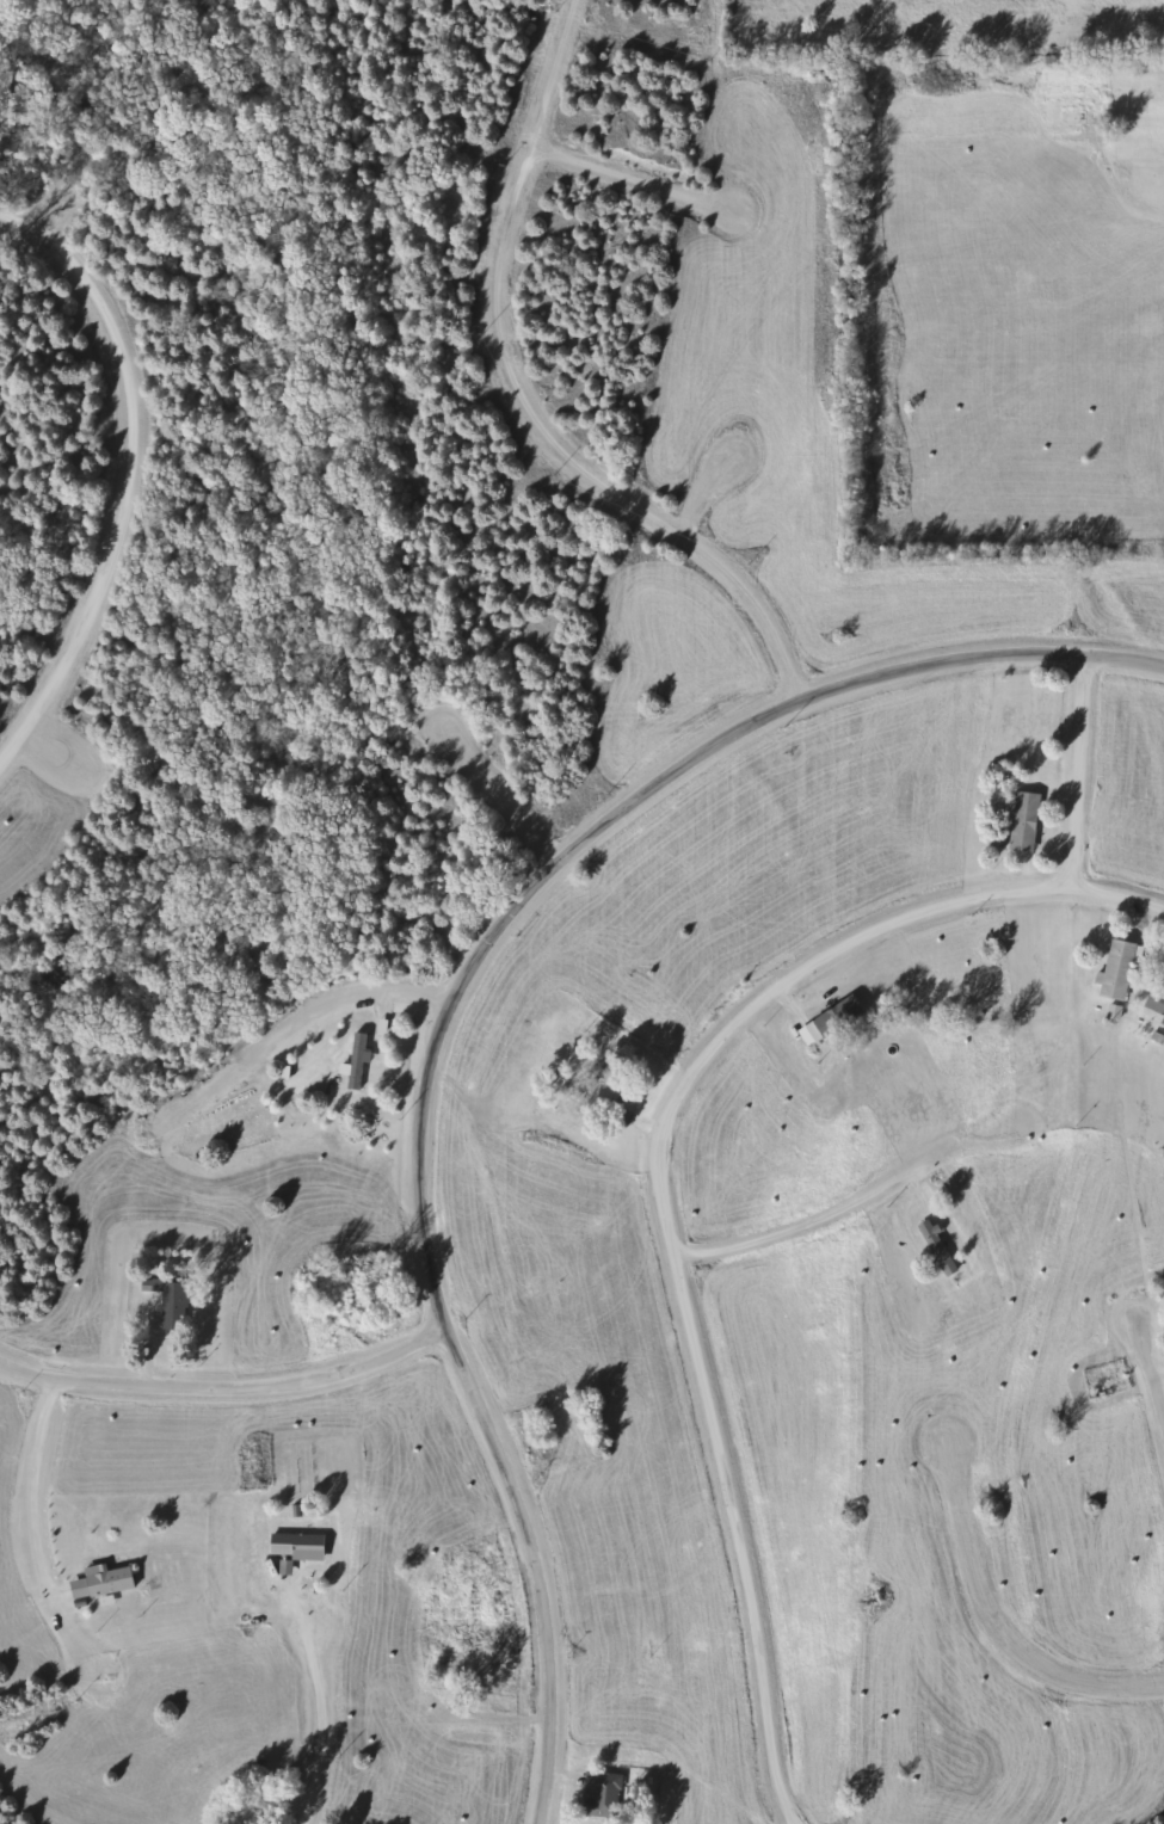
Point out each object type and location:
road: (45, 195)
road: (654, 218)
road: (503, 310)
road: (129, 472)
road: (726, 495)
road: (747, 617)
road: (1079, 771)
road: (509, 787)
building: (1021, 821)
building: (1114, 970)
building: (1153, 1002)
road: (449, 1004)
building: (832, 1021)
road: (298, 1048)
building: (358, 1061)
building: (611, 1085)
road: (659, 1183)
road: (848, 1203)
building: (937, 1247)
building: (177, 1305)
road: (1148, 1372)
road: (227, 1385)
road: (37, 1478)
building: (298, 1546)
building: (105, 1582)
road: (991, 1616)
road: (318, 1703)
building: (603, 1793)

